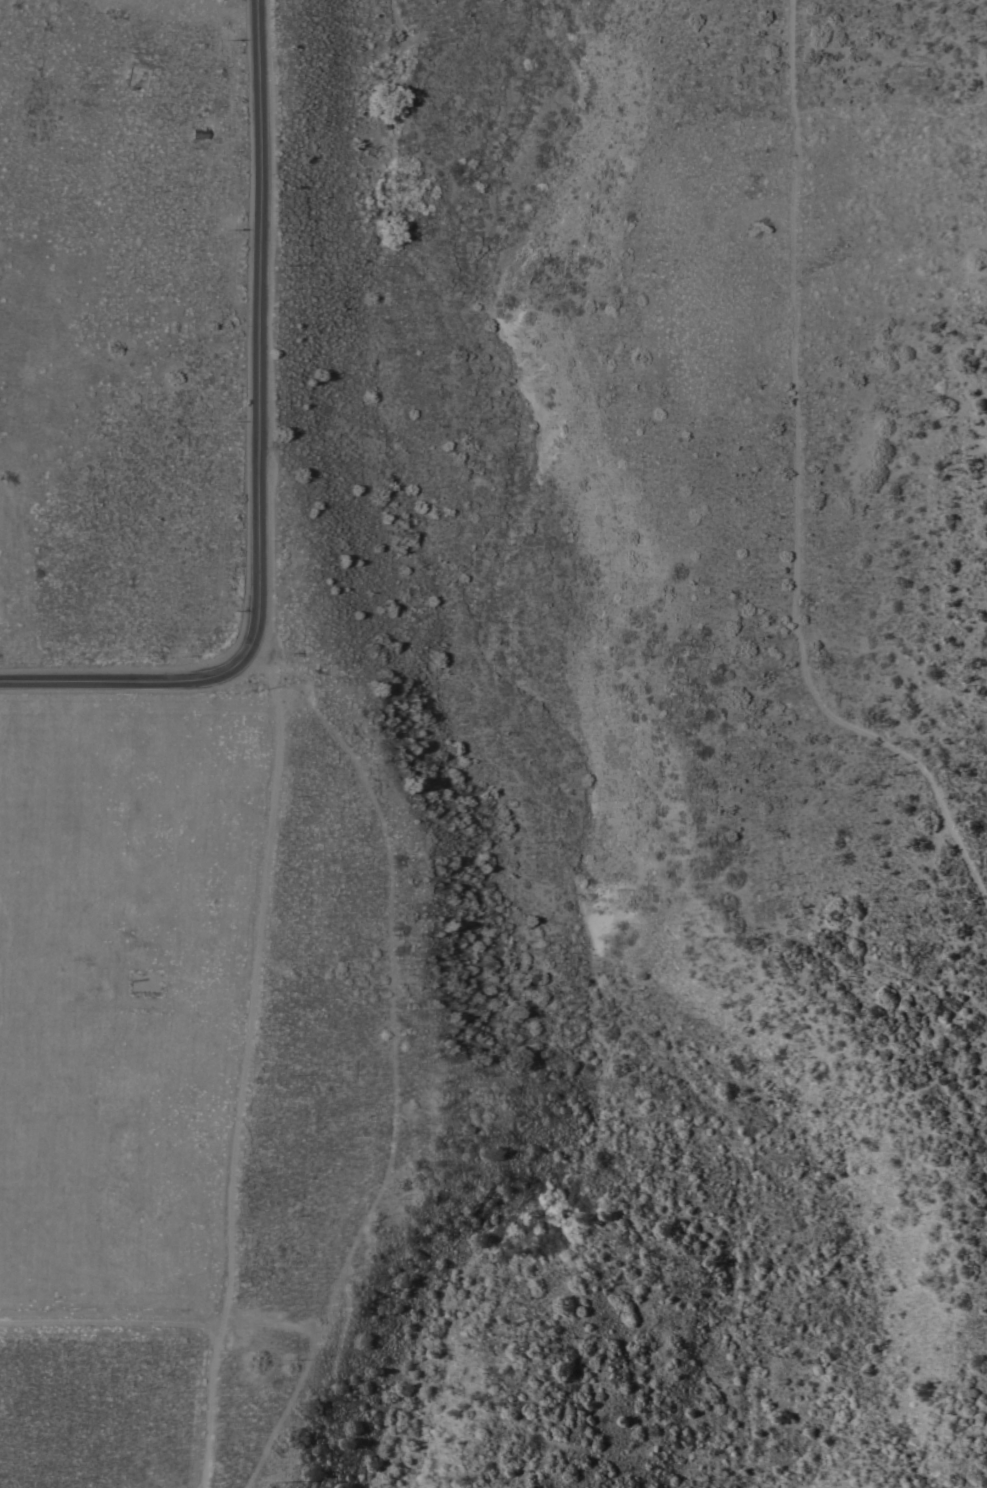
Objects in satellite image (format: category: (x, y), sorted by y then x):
road: (256, 329)
road: (795, 493)
road: (125, 679)
road: (249, 1065)
road: (396, 1086)
road: (113, 1322)
road: (274, 1322)

